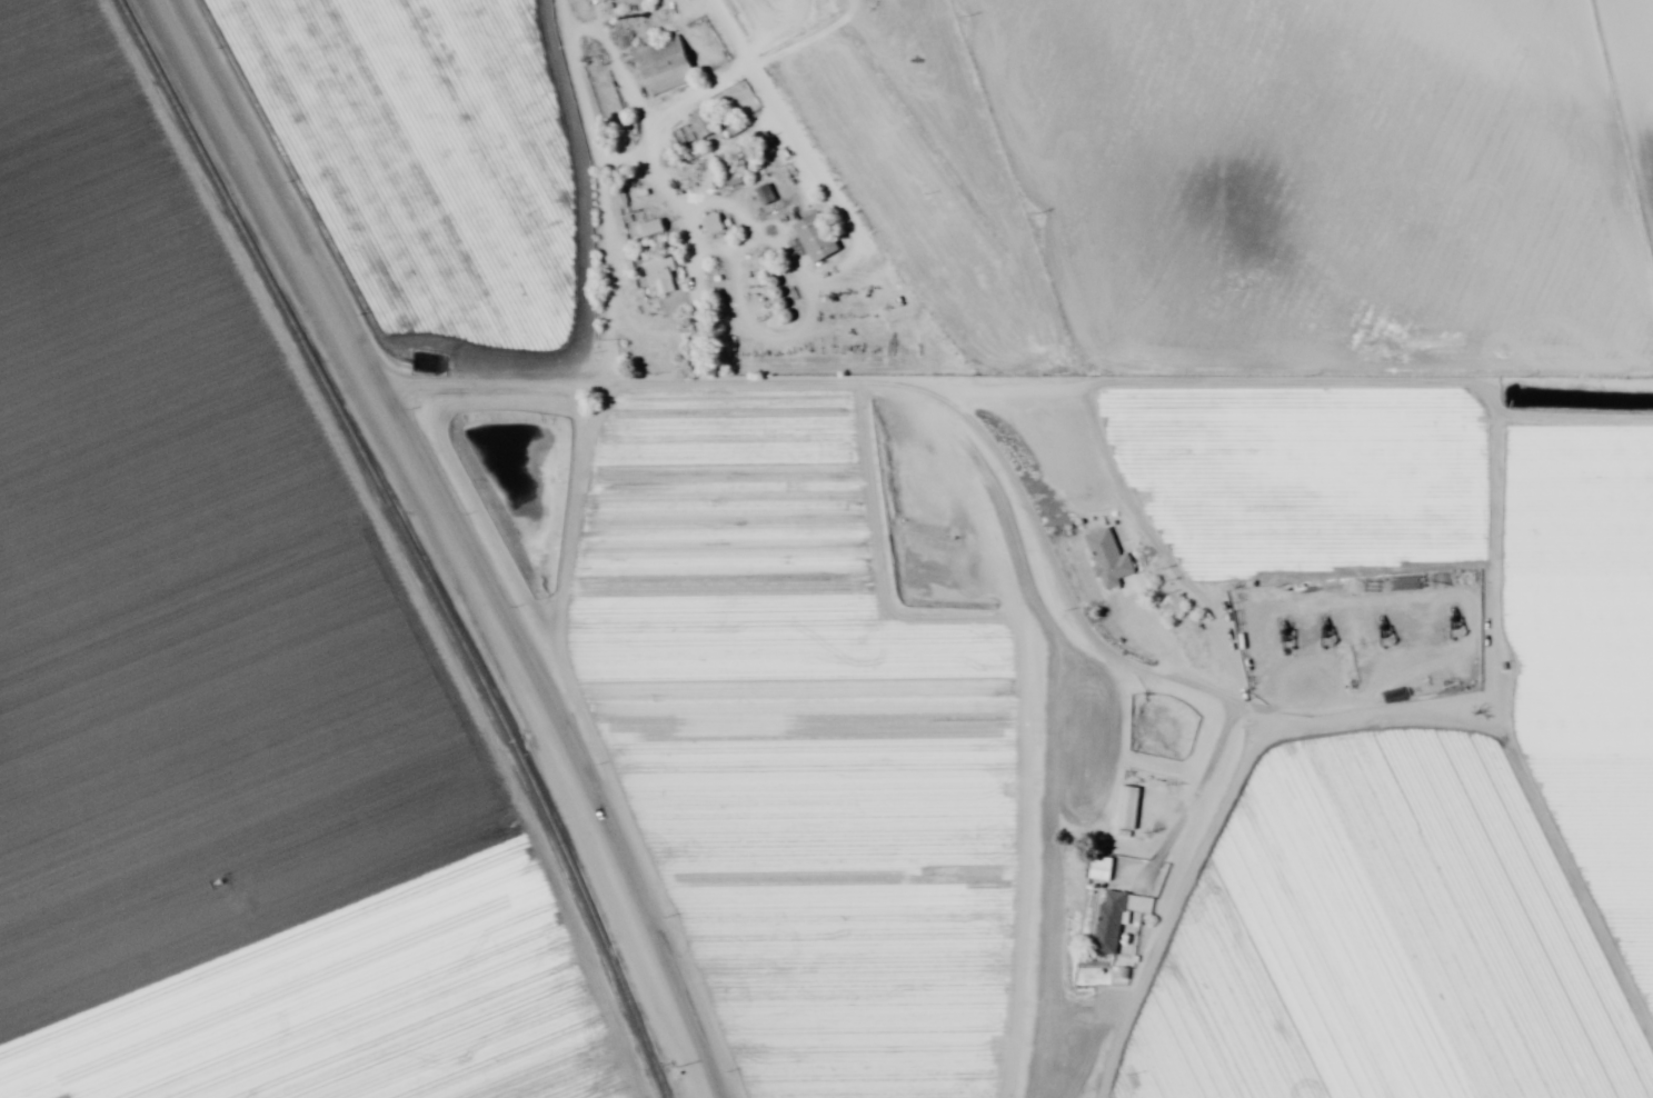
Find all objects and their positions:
building: (593, 0)
building: (658, 63)
building: (695, 123)
building: (684, 143)
building: (718, 162)
building: (758, 193)
road: (609, 207)
building: (706, 222)
building: (646, 227)
building: (808, 237)
building: (654, 273)
crop: (1062, 505)
road: (1125, 515)
railway: (407, 540)
road: (455, 541)
building: (1102, 557)
road: (986, 616)
crop: (216, 695)
road: (1338, 707)
building: (1121, 806)
building: (1094, 867)
building: (1111, 917)

